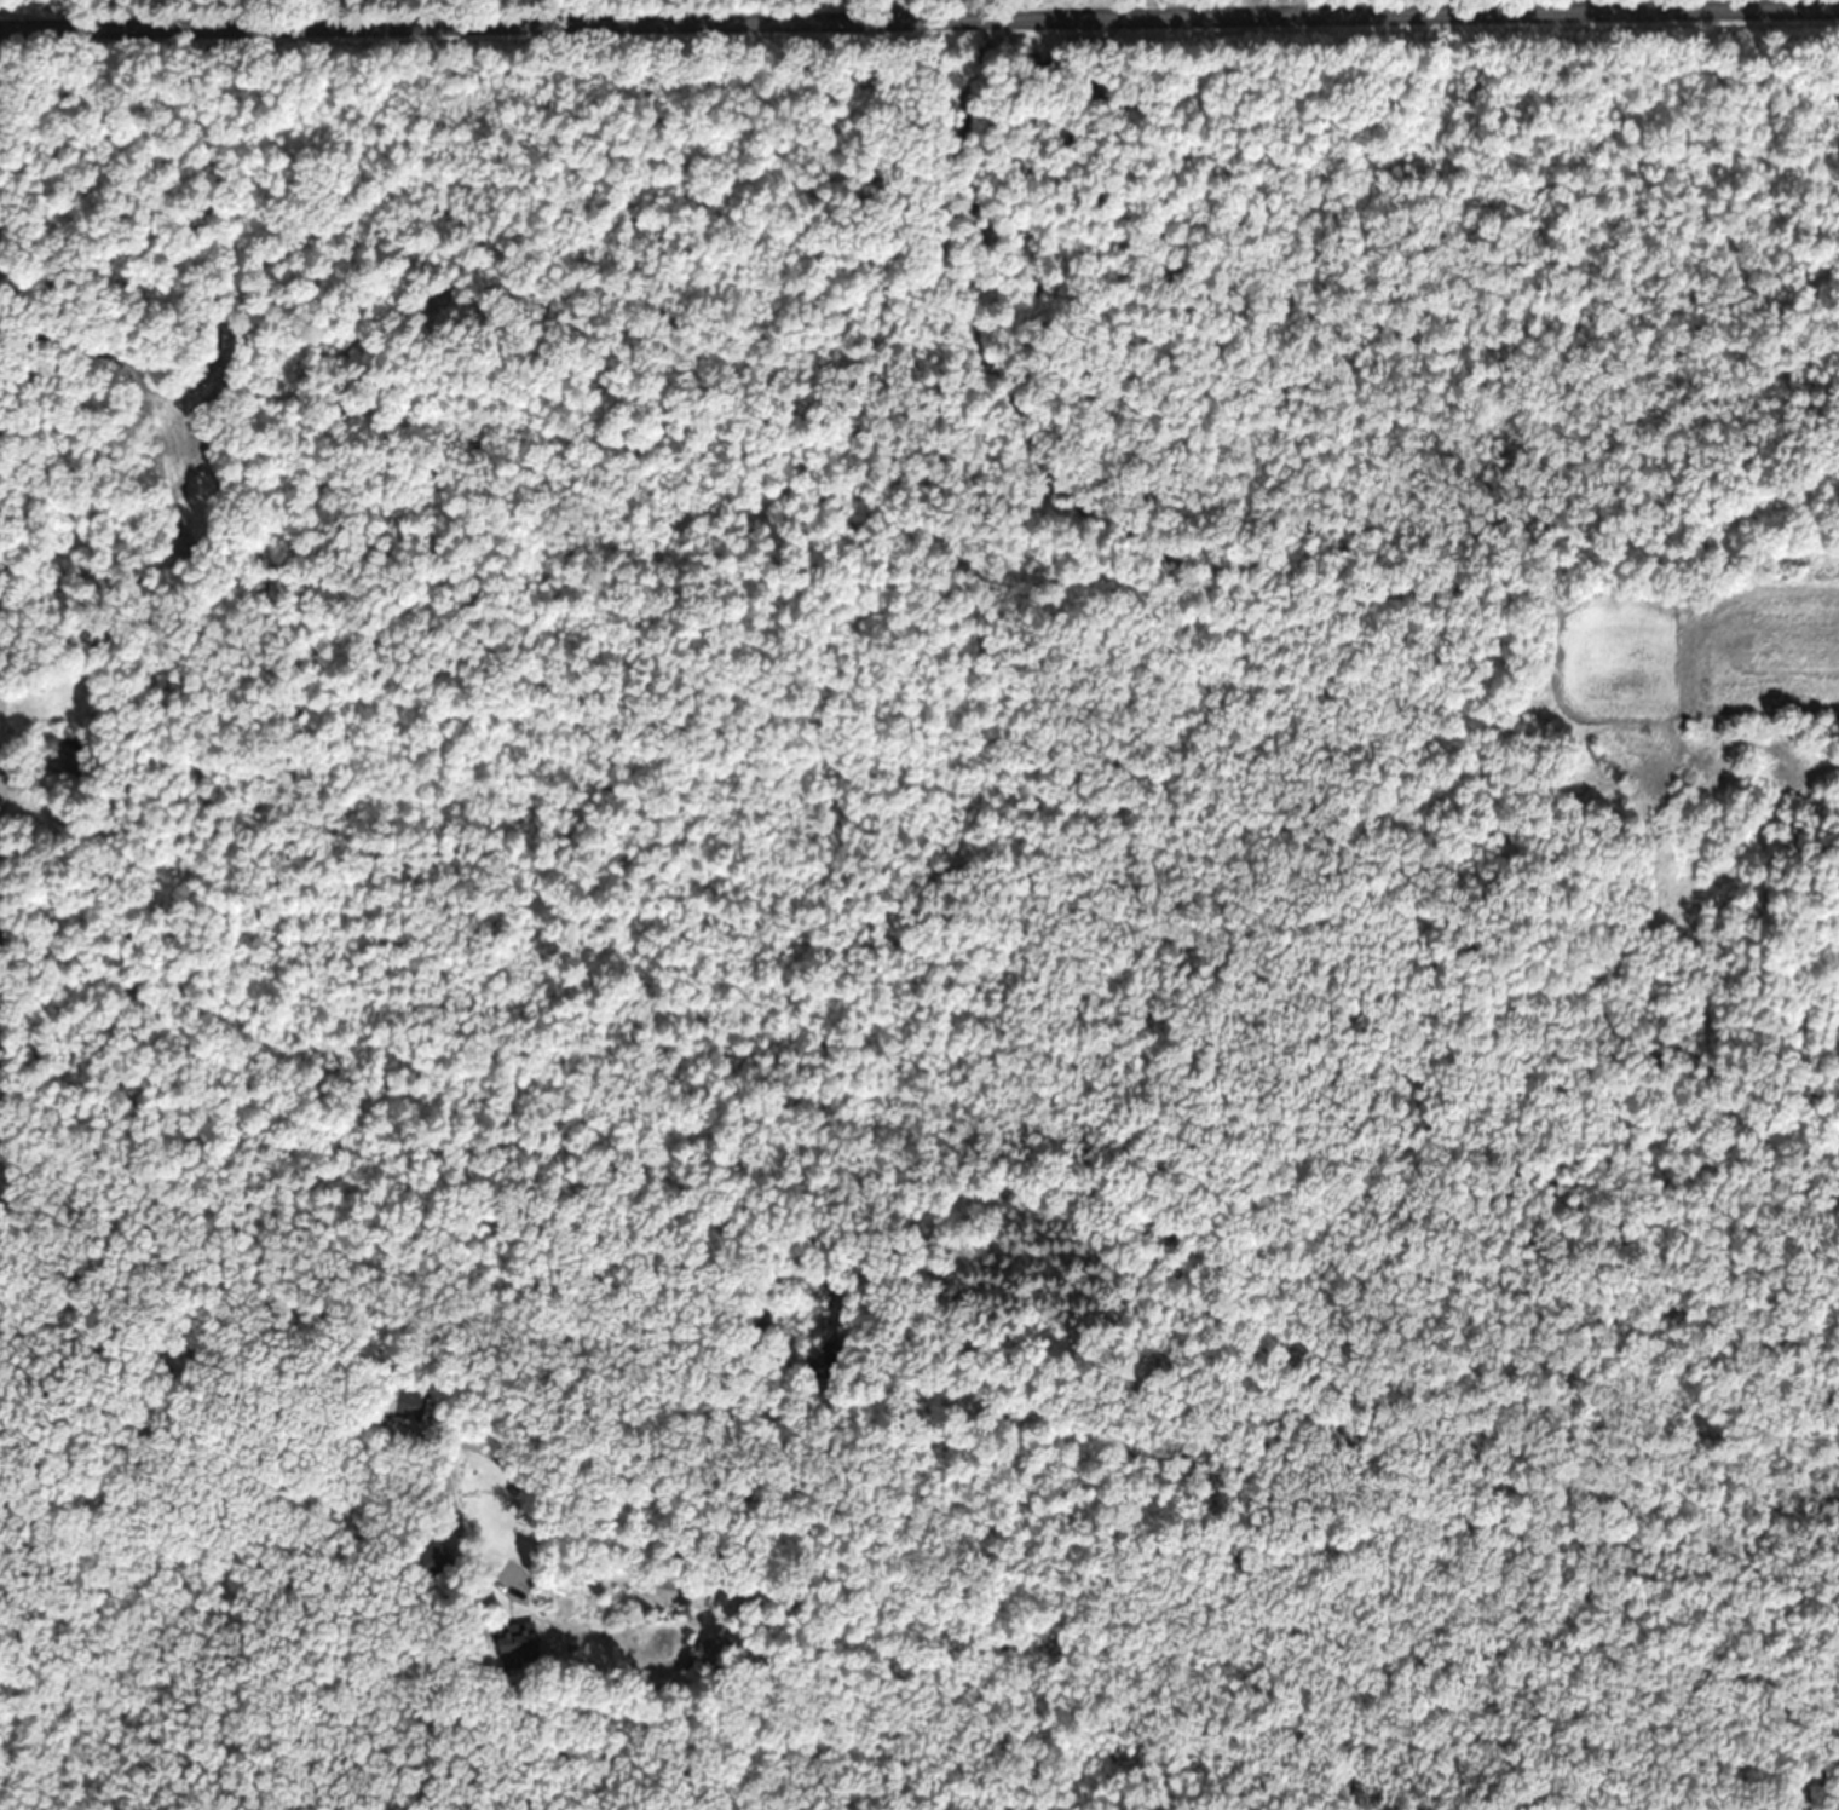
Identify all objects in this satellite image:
road: (919, 21)
road: (1, 991)
building: (409, 1402)
building: (433, 1558)
building: (518, 1644)
building: (711, 1654)

